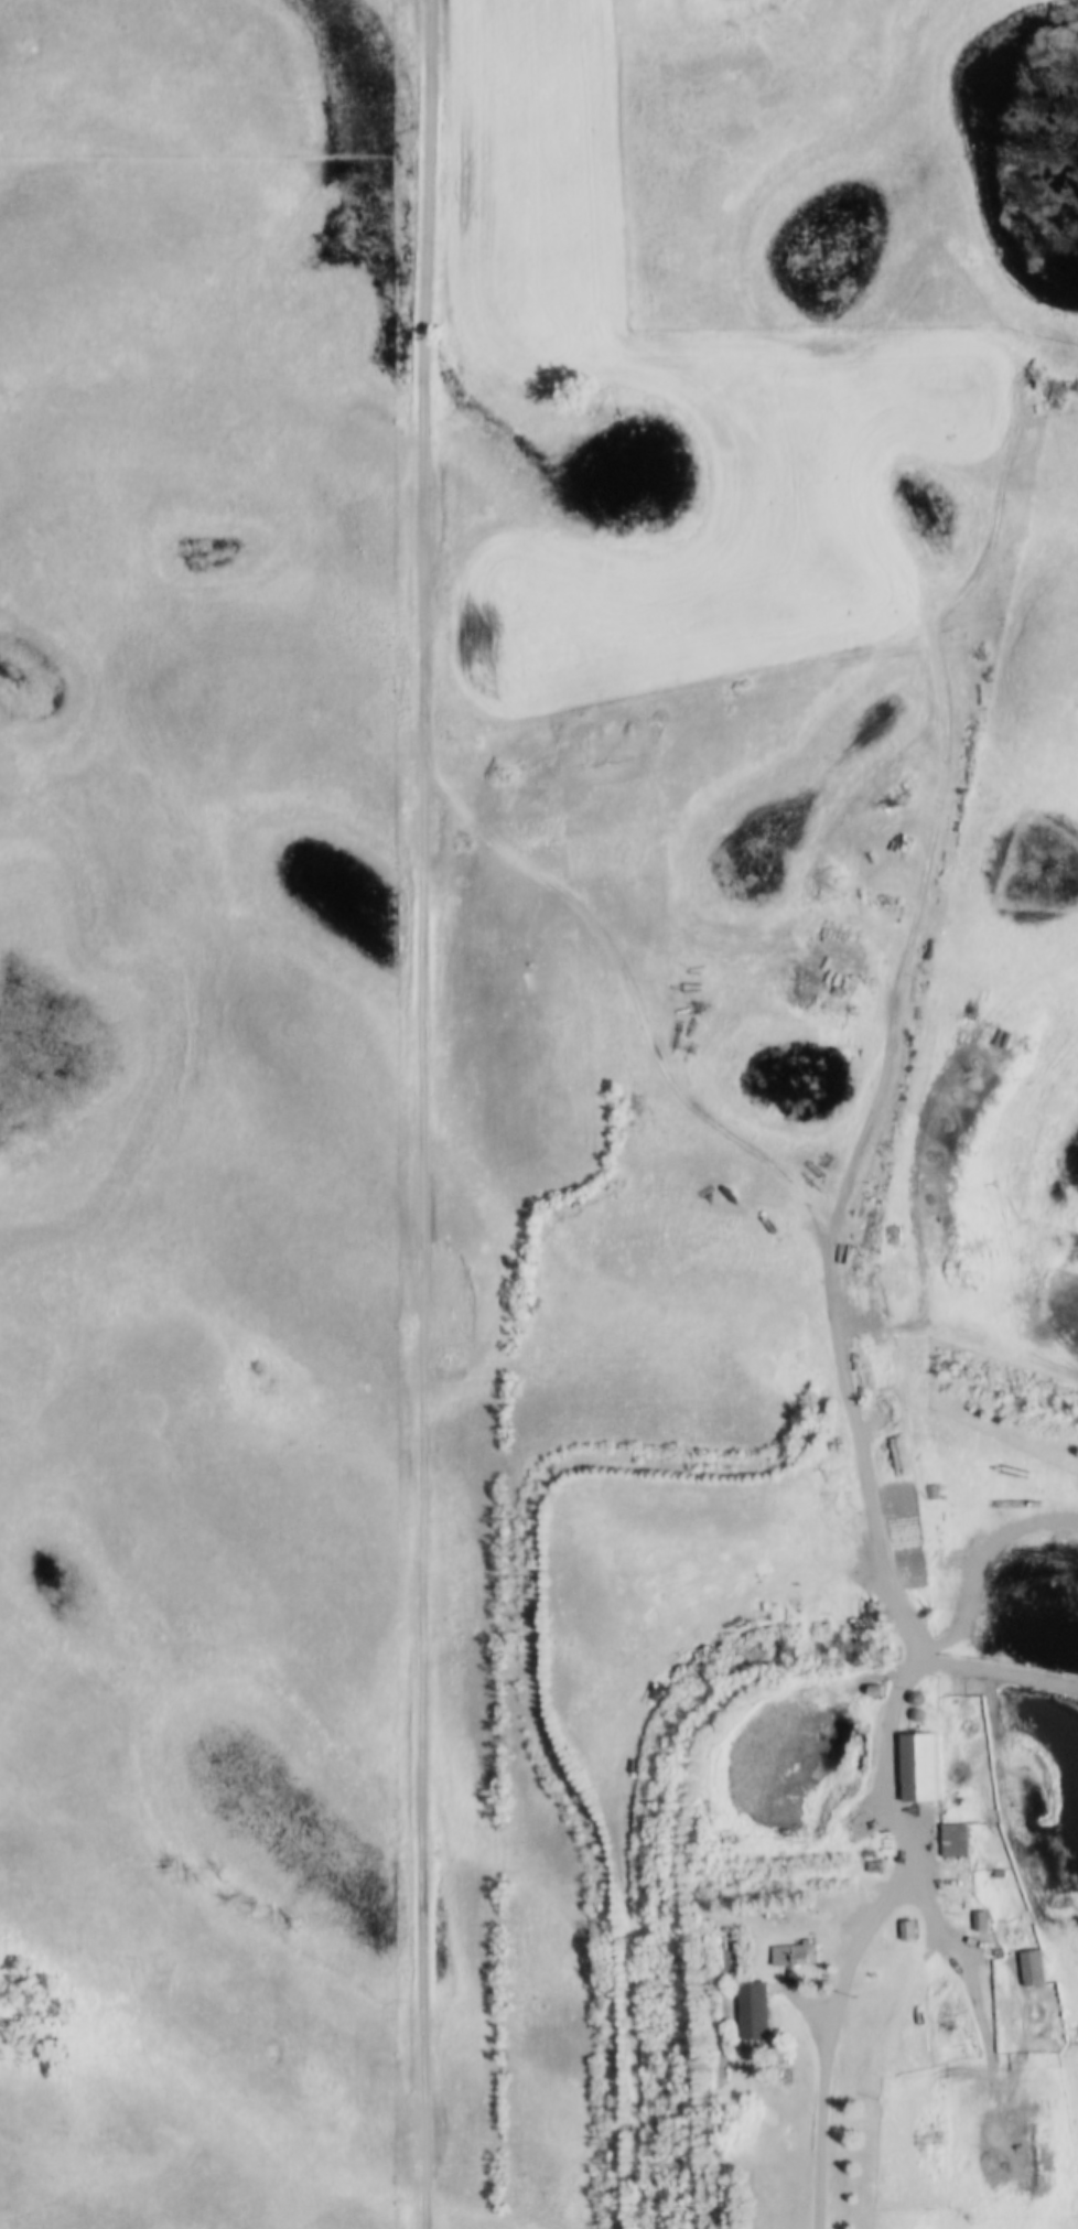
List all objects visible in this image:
road: (417, 1113)
road: (858, 1141)
building: (918, 1768)
road: (897, 1827)
building: (955, 1869)
building: (980, 1920)
building: (908, 1930)
building: (797, 1955)
building: (1033, 1968)
building: (754, 2011)

